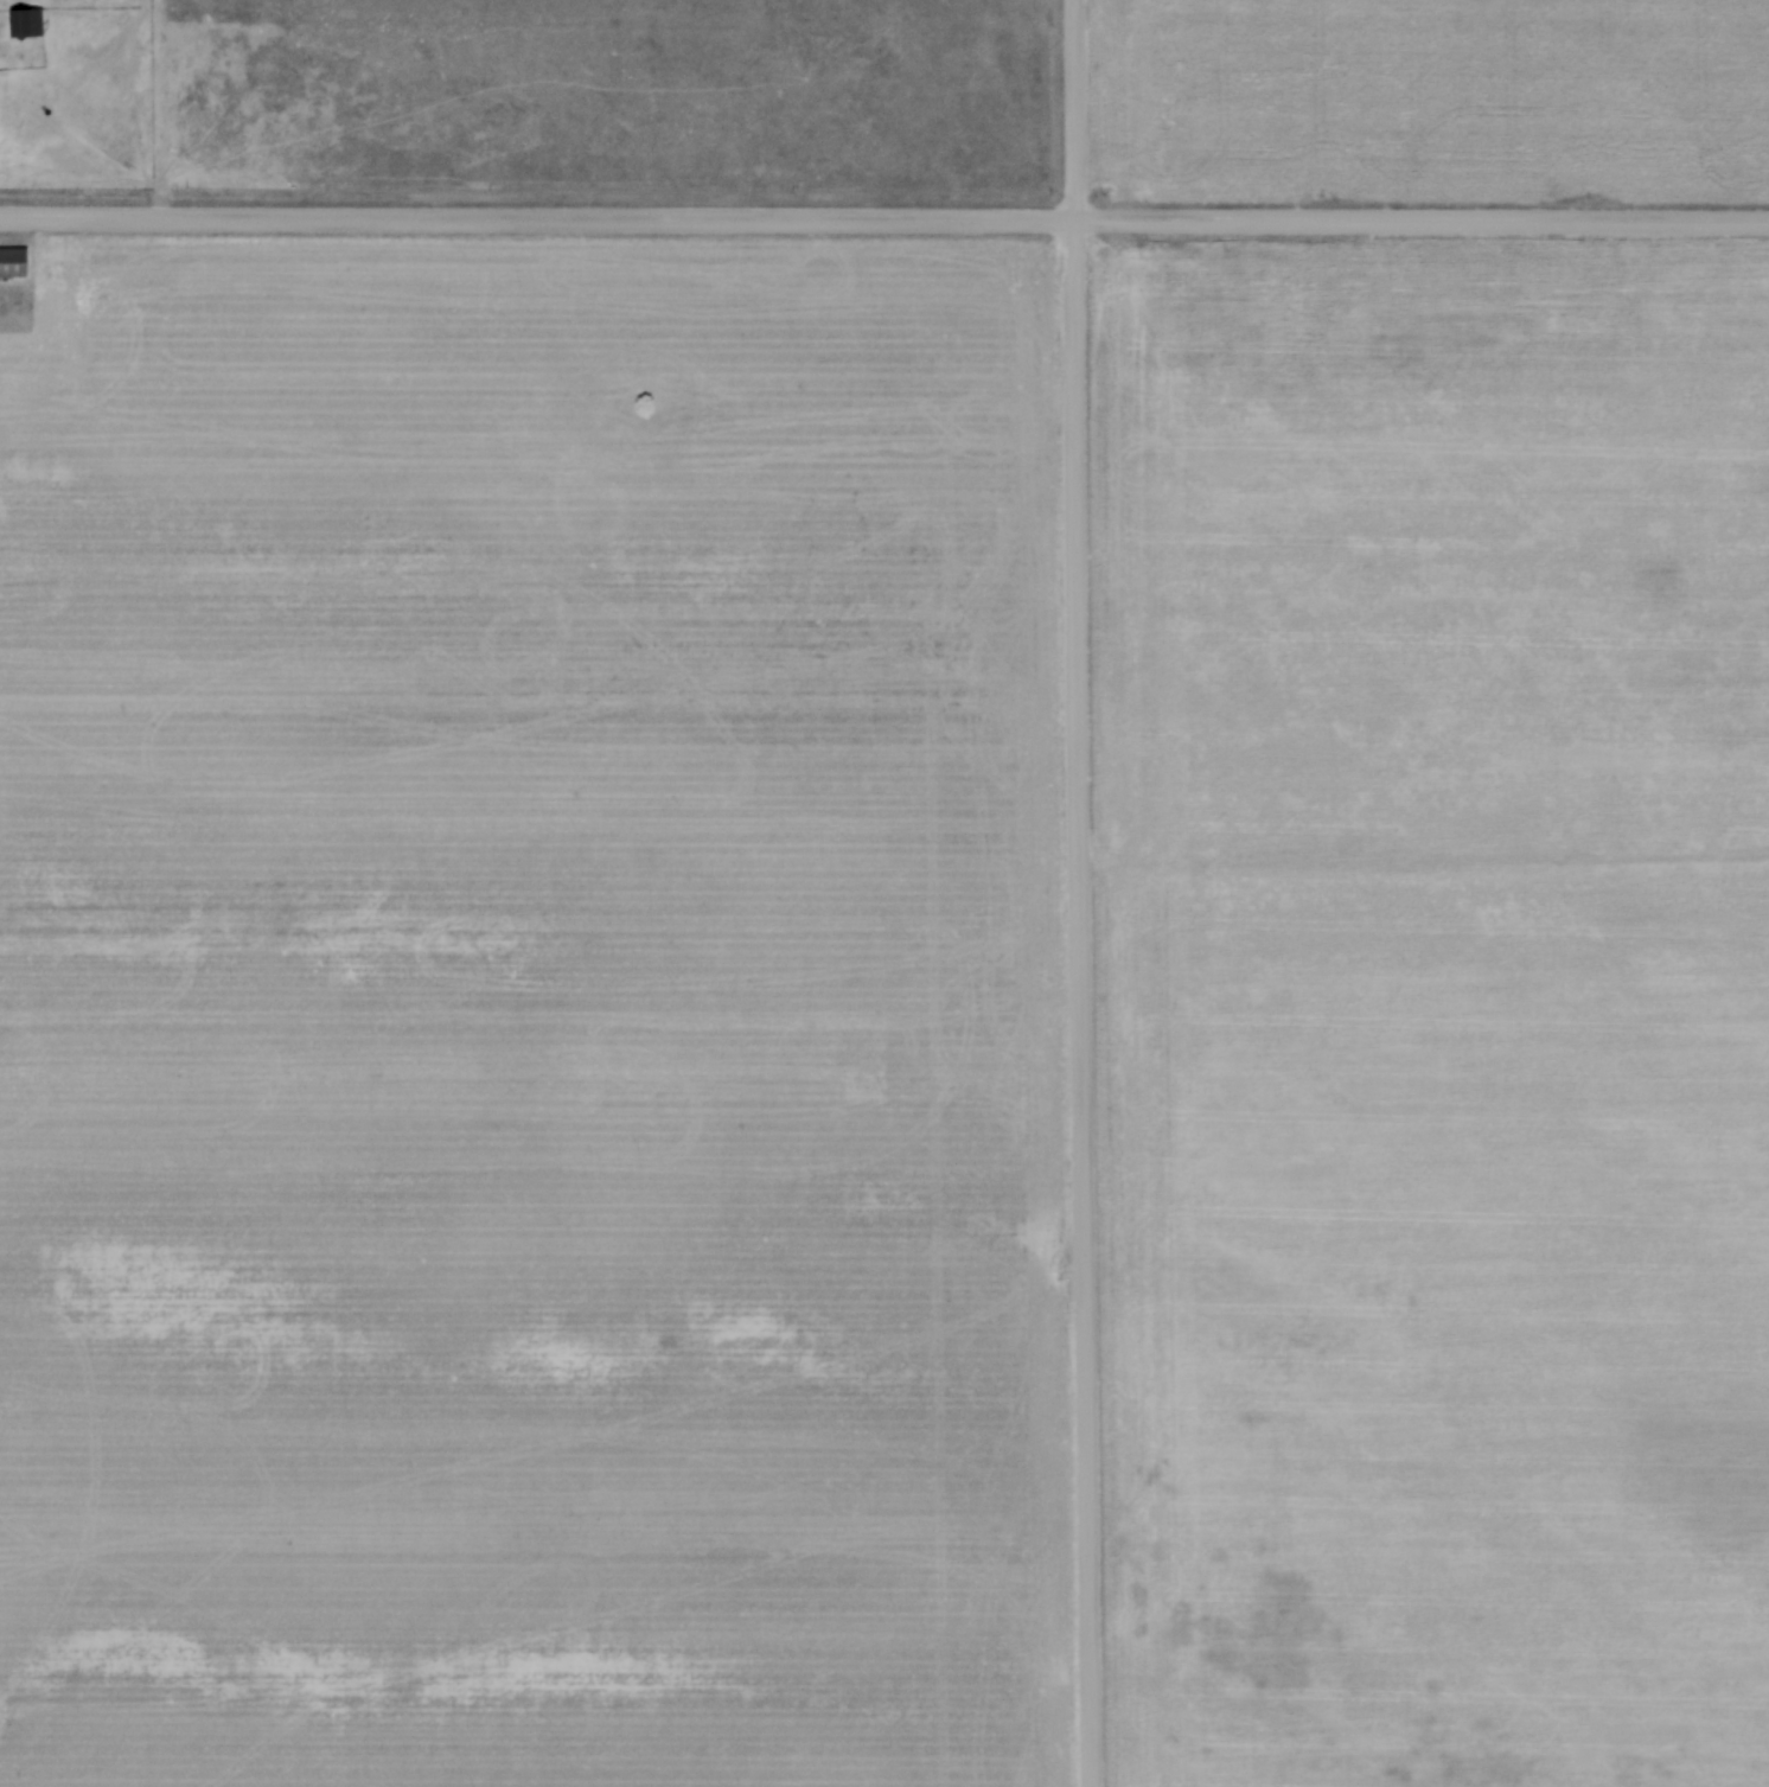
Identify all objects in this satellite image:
building: (25, 23)
road: (884, 219)
building: (12, 266)
road: (1424, 867)
road: (1080, 893)
crop: (531, 1017)
crop: (1429, 1060)

